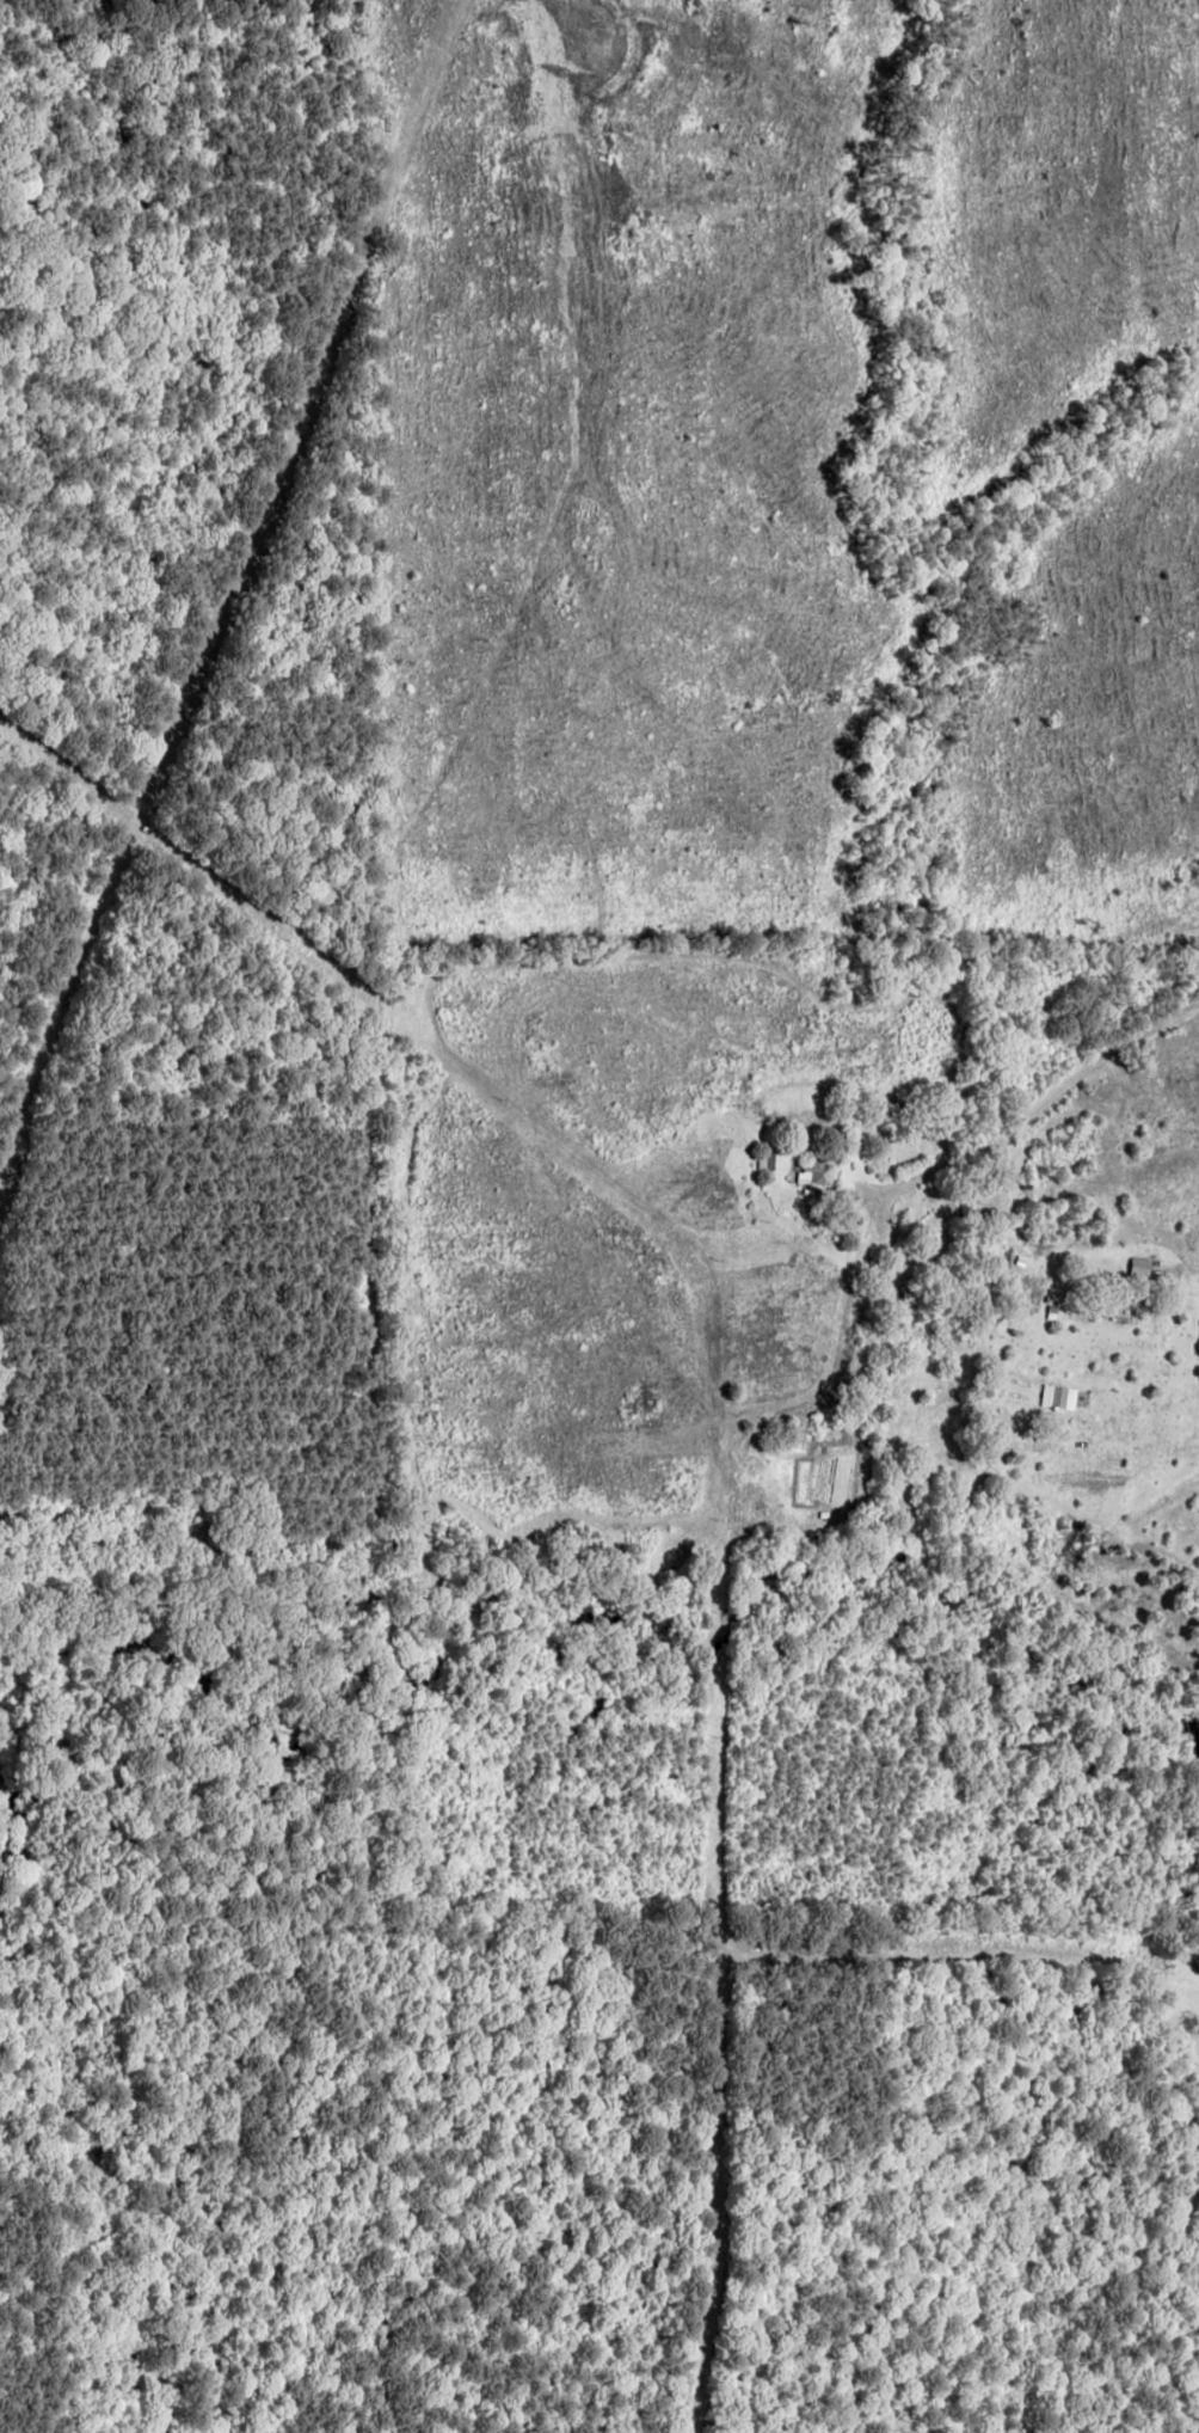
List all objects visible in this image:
road: (1034, 1141)
building: (912, 1293)
building: (1058, 1396)

